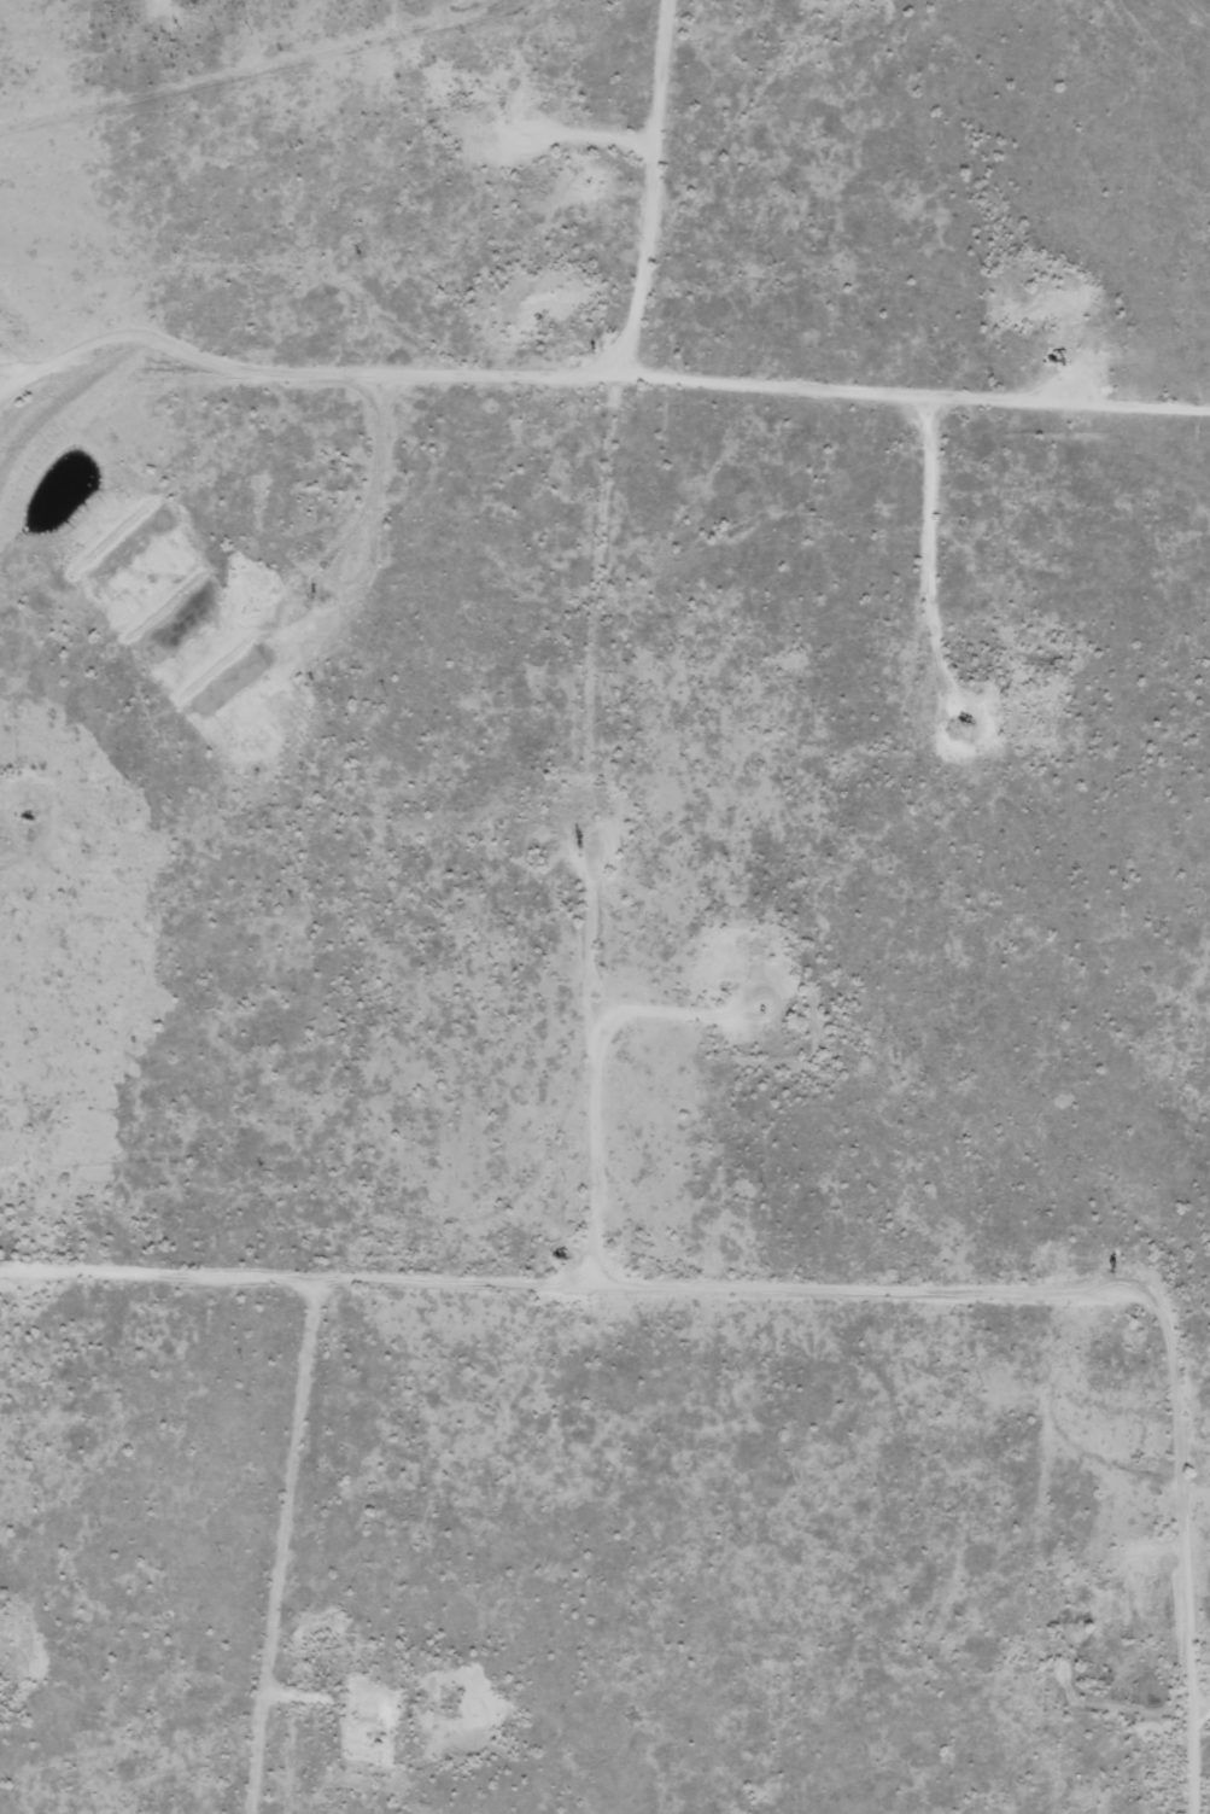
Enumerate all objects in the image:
road: (1181, 30)
road: (604, 119)
road: (609, 398)
road: (553, 809)
road: (654, 1334)
road: (1142, 1672)

